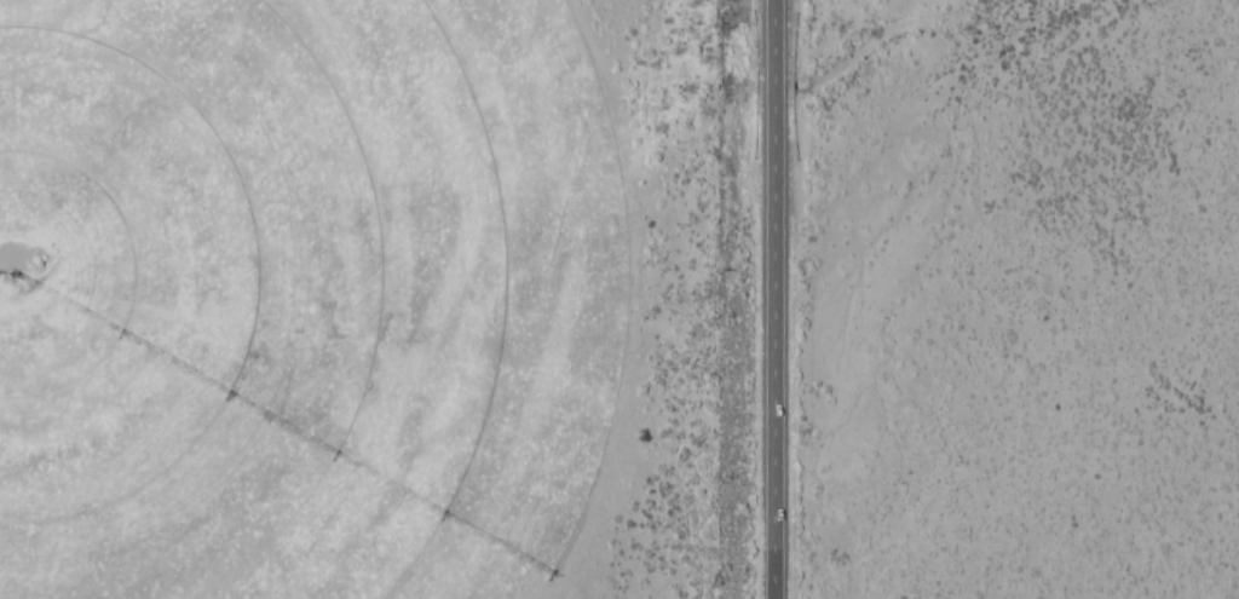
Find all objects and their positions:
crop: (309, 298)
road: (768, 299)

